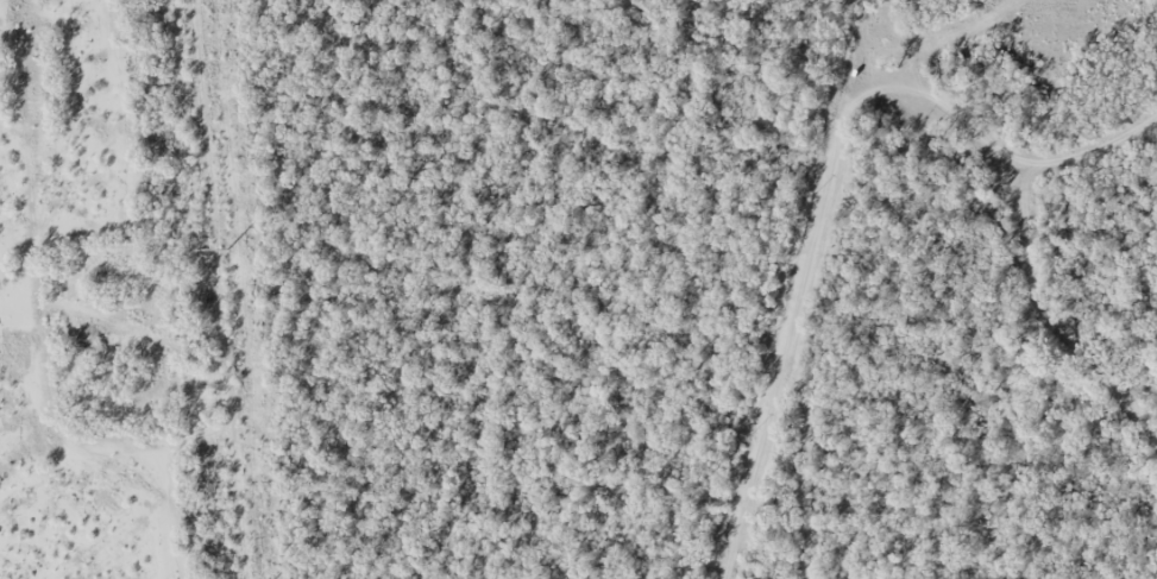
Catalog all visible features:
road: (1014, 195)
power tower: (225, 250)

